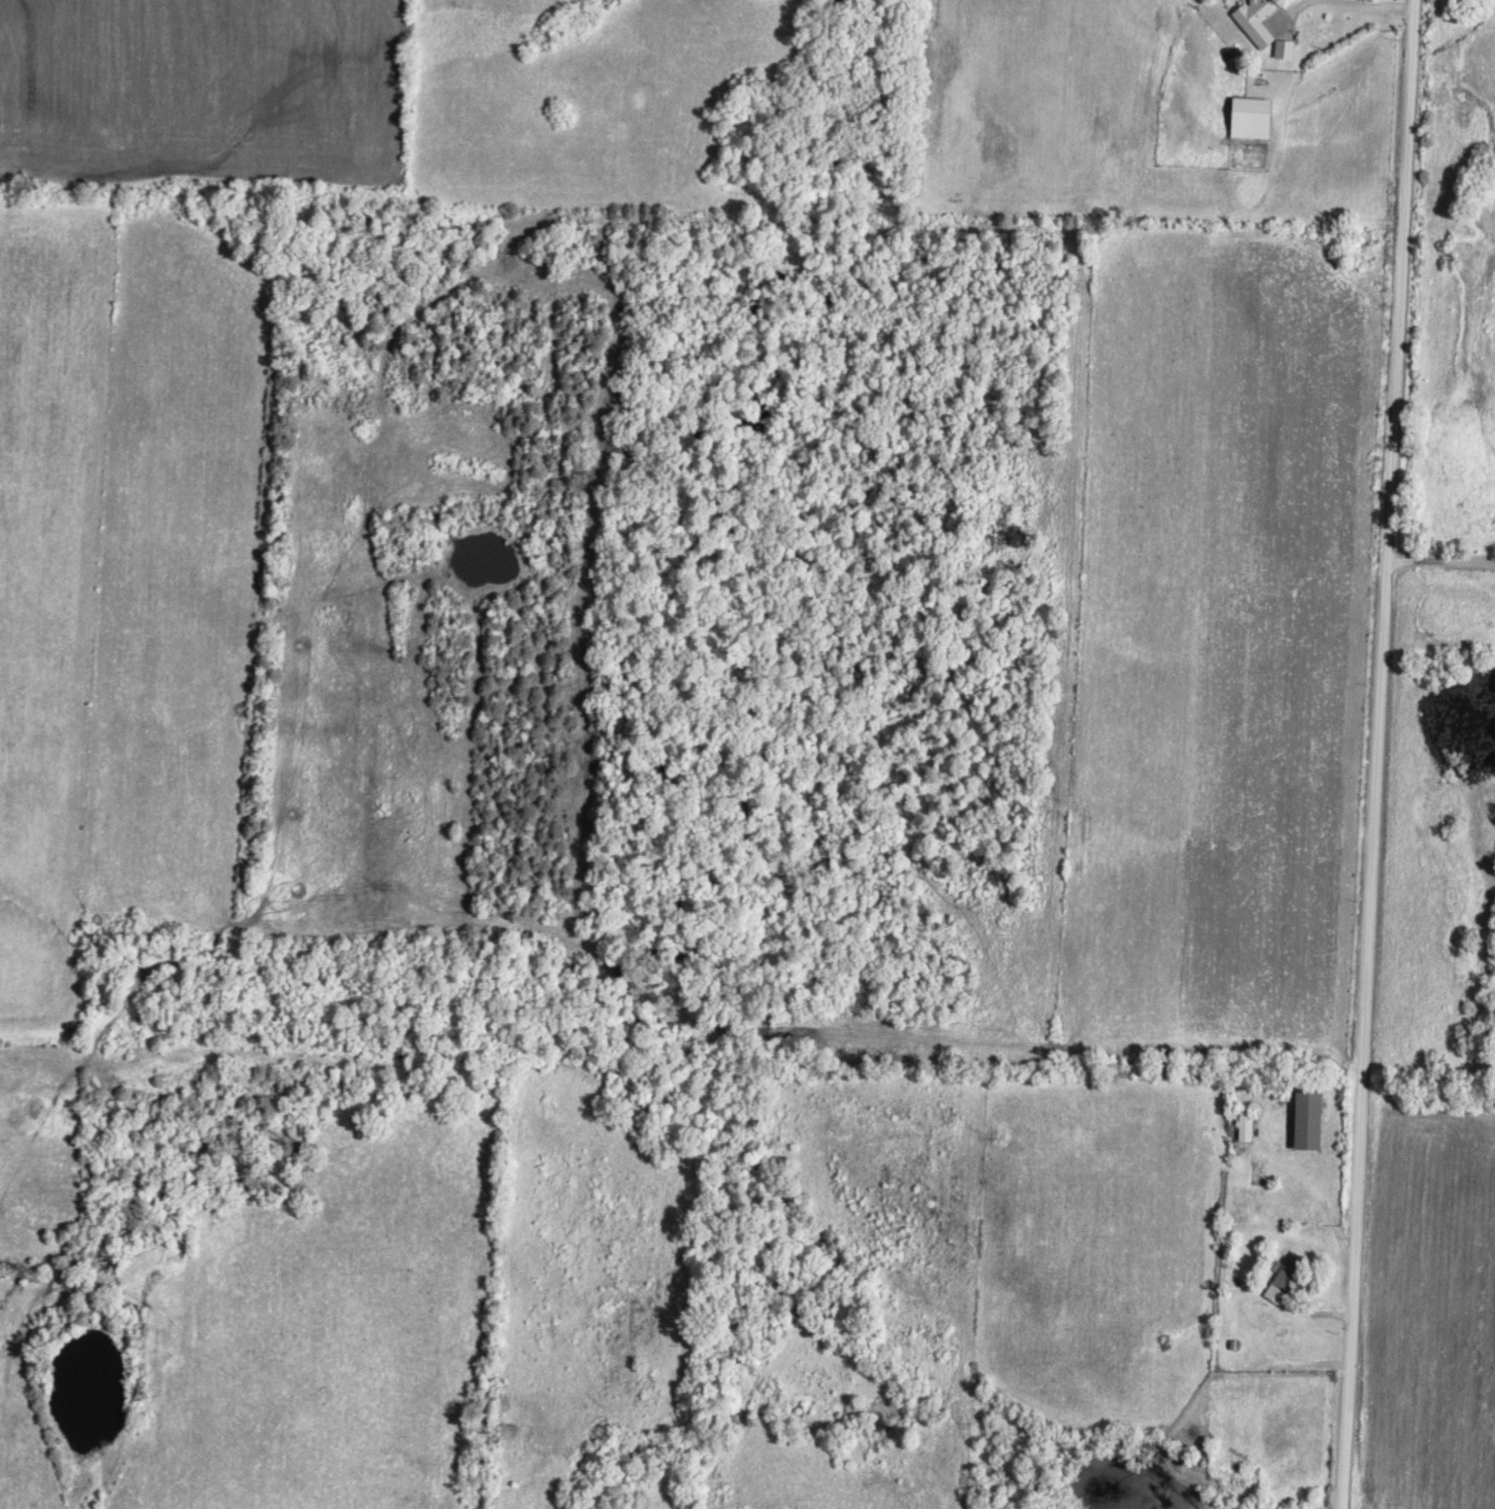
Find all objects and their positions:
road: (1338, 0)
building: (1257, 18)
building: (1286, 46)
road: (1351, 71)
building: (1253, 115)
road: (1441, 560)
road: (1378, 754)
building: (1312, 1116)
road: (1324, 1200)
building: (1288, 1275)
road: (1261, 1332)

